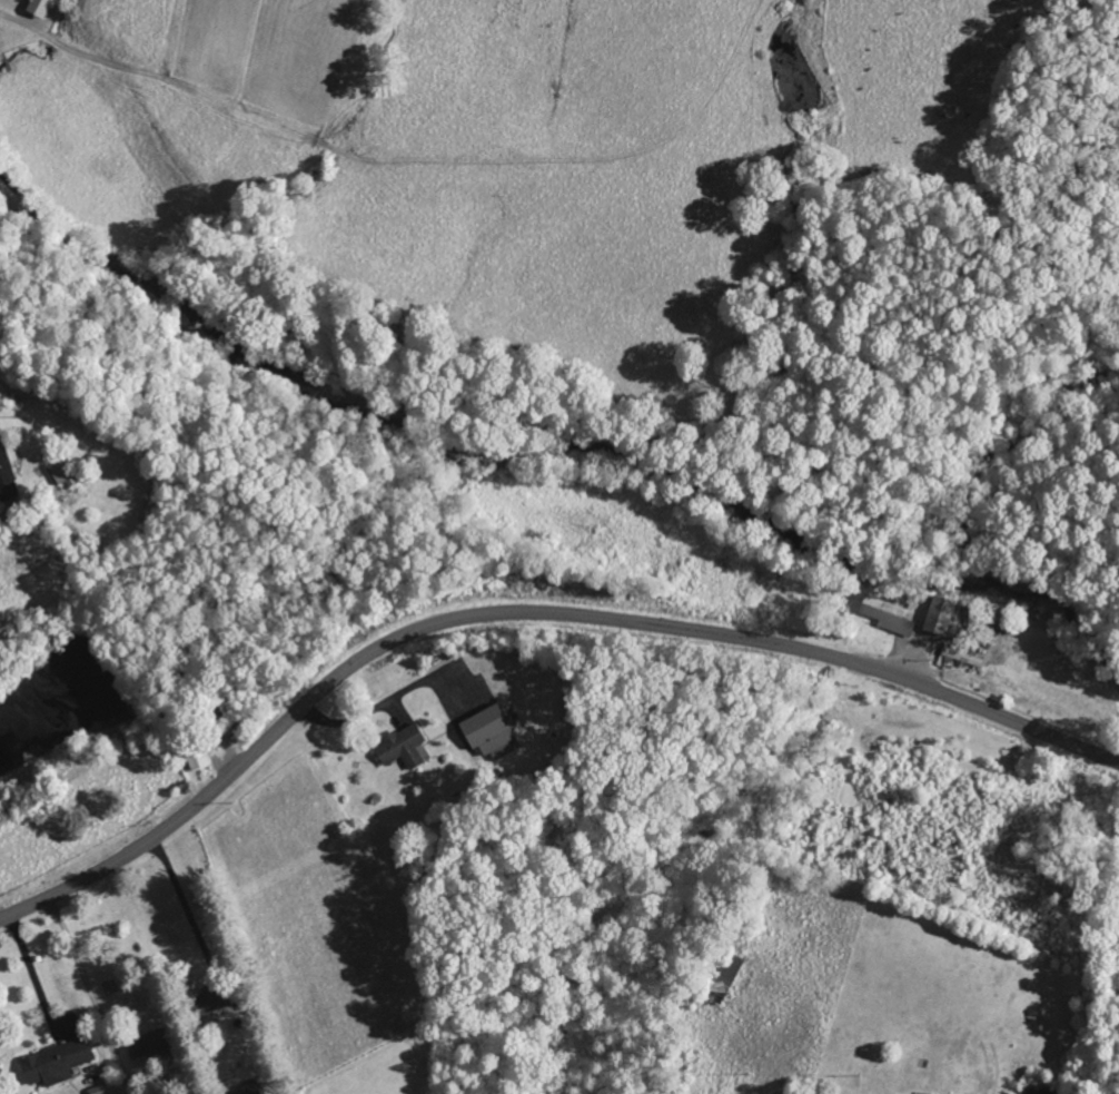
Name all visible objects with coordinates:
building: (40, 8)
building: (7, 473)
road: (523, 614)
building: (889, 615)
building: (941, 615)
building: (492, 732)
building: (403, 747)
building: (199, 759)
building: (726, 978)
building: (214, 999)
building: (148, 1044)
building: (58, 1063)
building: (100, 1090)
building: (247, 1090)

